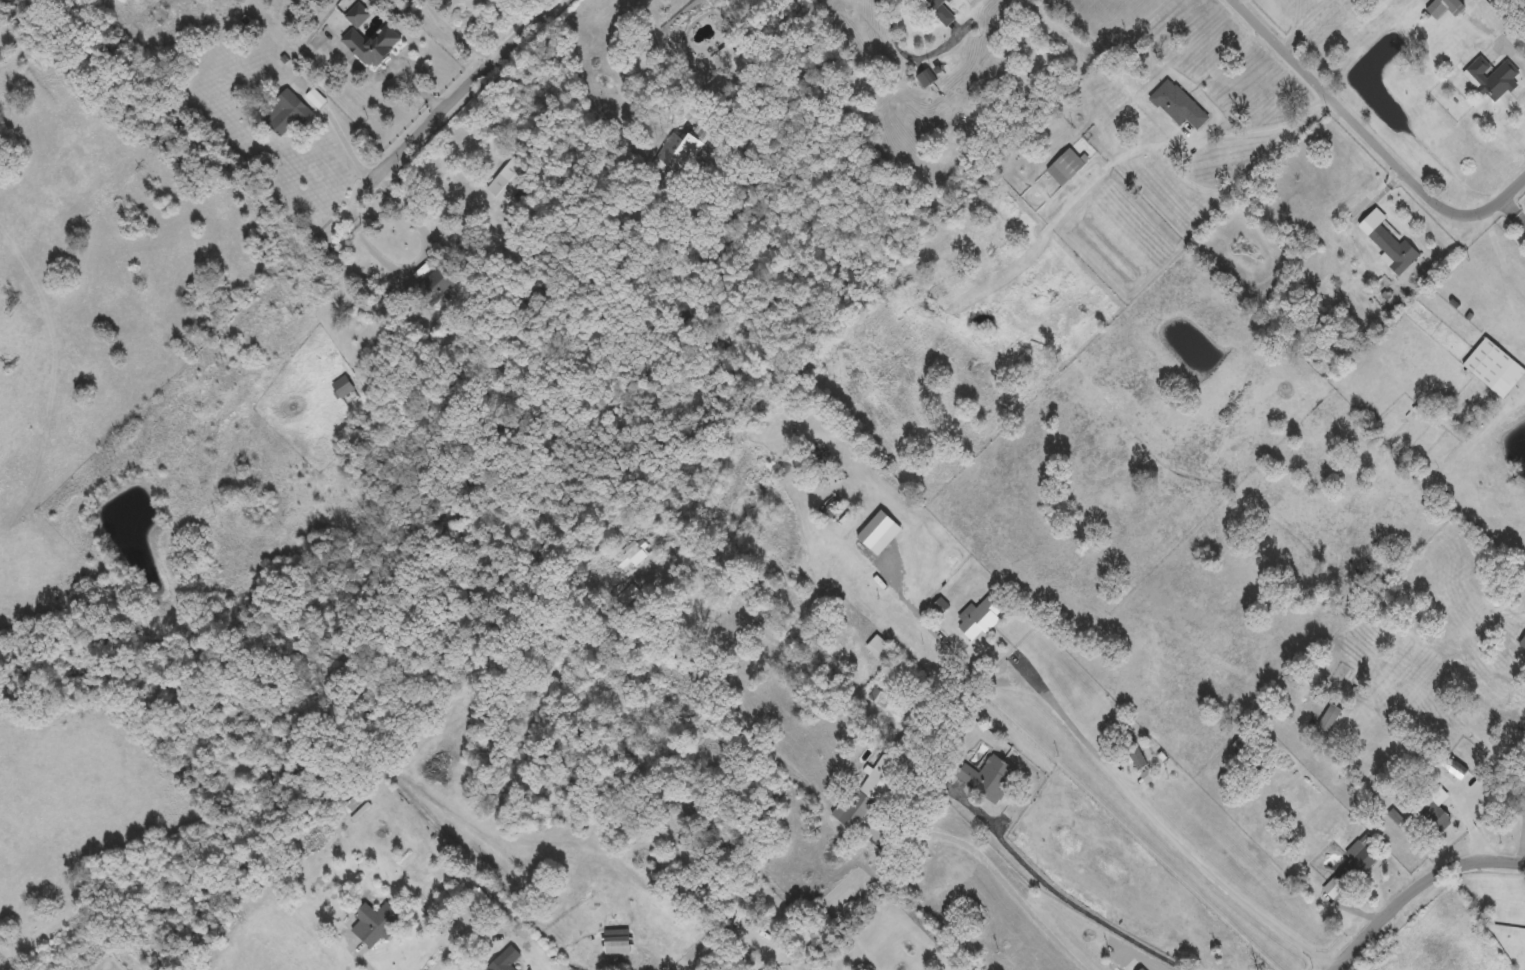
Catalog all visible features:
building: (1444, 6)
building: (939, 9)
building: (358, 12)
road: (1303, 20)
road: (461, 30)
building: (371, 42)
road: (747, 43)
road: (1514, 51)
road: (905, 52)
building: (1492, 75)
road: (467, 84)
building: (1178, 102)
building: (285, 111)
road: (350, 135)
road: (1375, 135)
building: (676, 149)
building: (1065, 164)
road: (1246, 169)
building: (509, 178)
road: (1516, 206)
building: (723, 218)
building: (1388, 240)
road: (426, 262)
building: (465, 264)
building: (433, 284)
building: (1488, 361)
building: (342, 385)
building: (829, 507)
building: (630, 554)
building: (629, 592)
building: (980, 617)
building: (1522, 640)
building: (881, 647)
building: (1329, 716)
building: (1239, 744)
building: (909, 746)
building: (1131, 746)
building: (988, 776)
building: (866, 792)
road: (1476, 794)
building: (352, 800)
building: (1433, 816)
road: (1168, 823)
building: (1356, 864)
road: (995, 871)
road: (1416, 887)
road: (1080, 899)
building: (379, 924)
building: (616, 939)
road: (458, 941)
building: (505, 958)
road: (371, 961)
building: (1142, 968)

